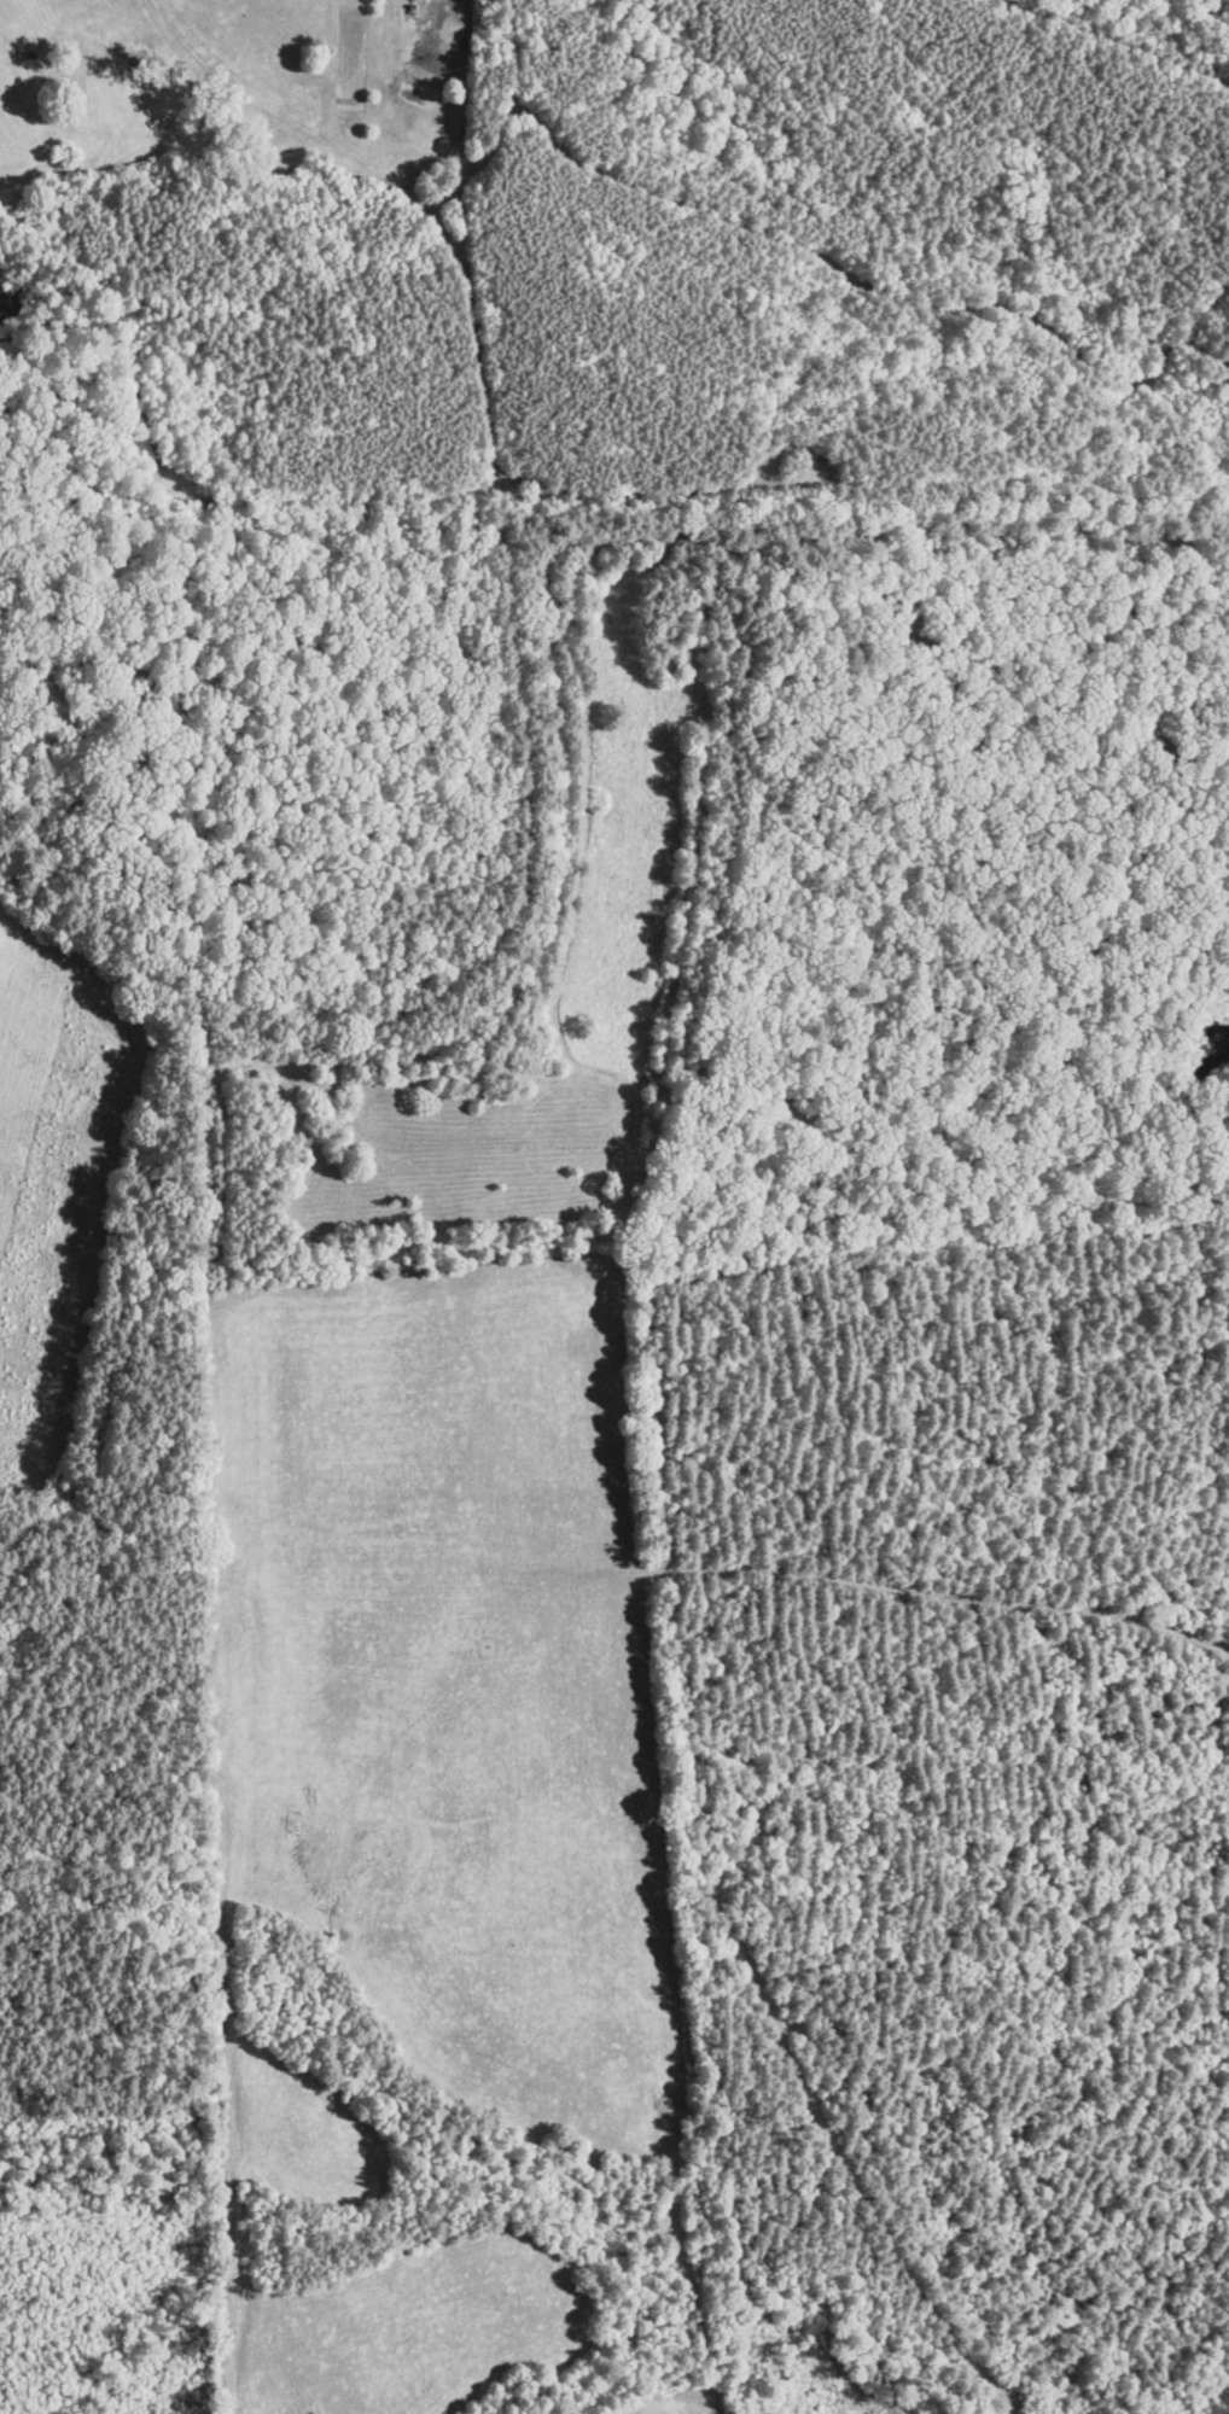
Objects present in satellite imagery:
crop: (417, 2331)
crop: (664, 2400)

